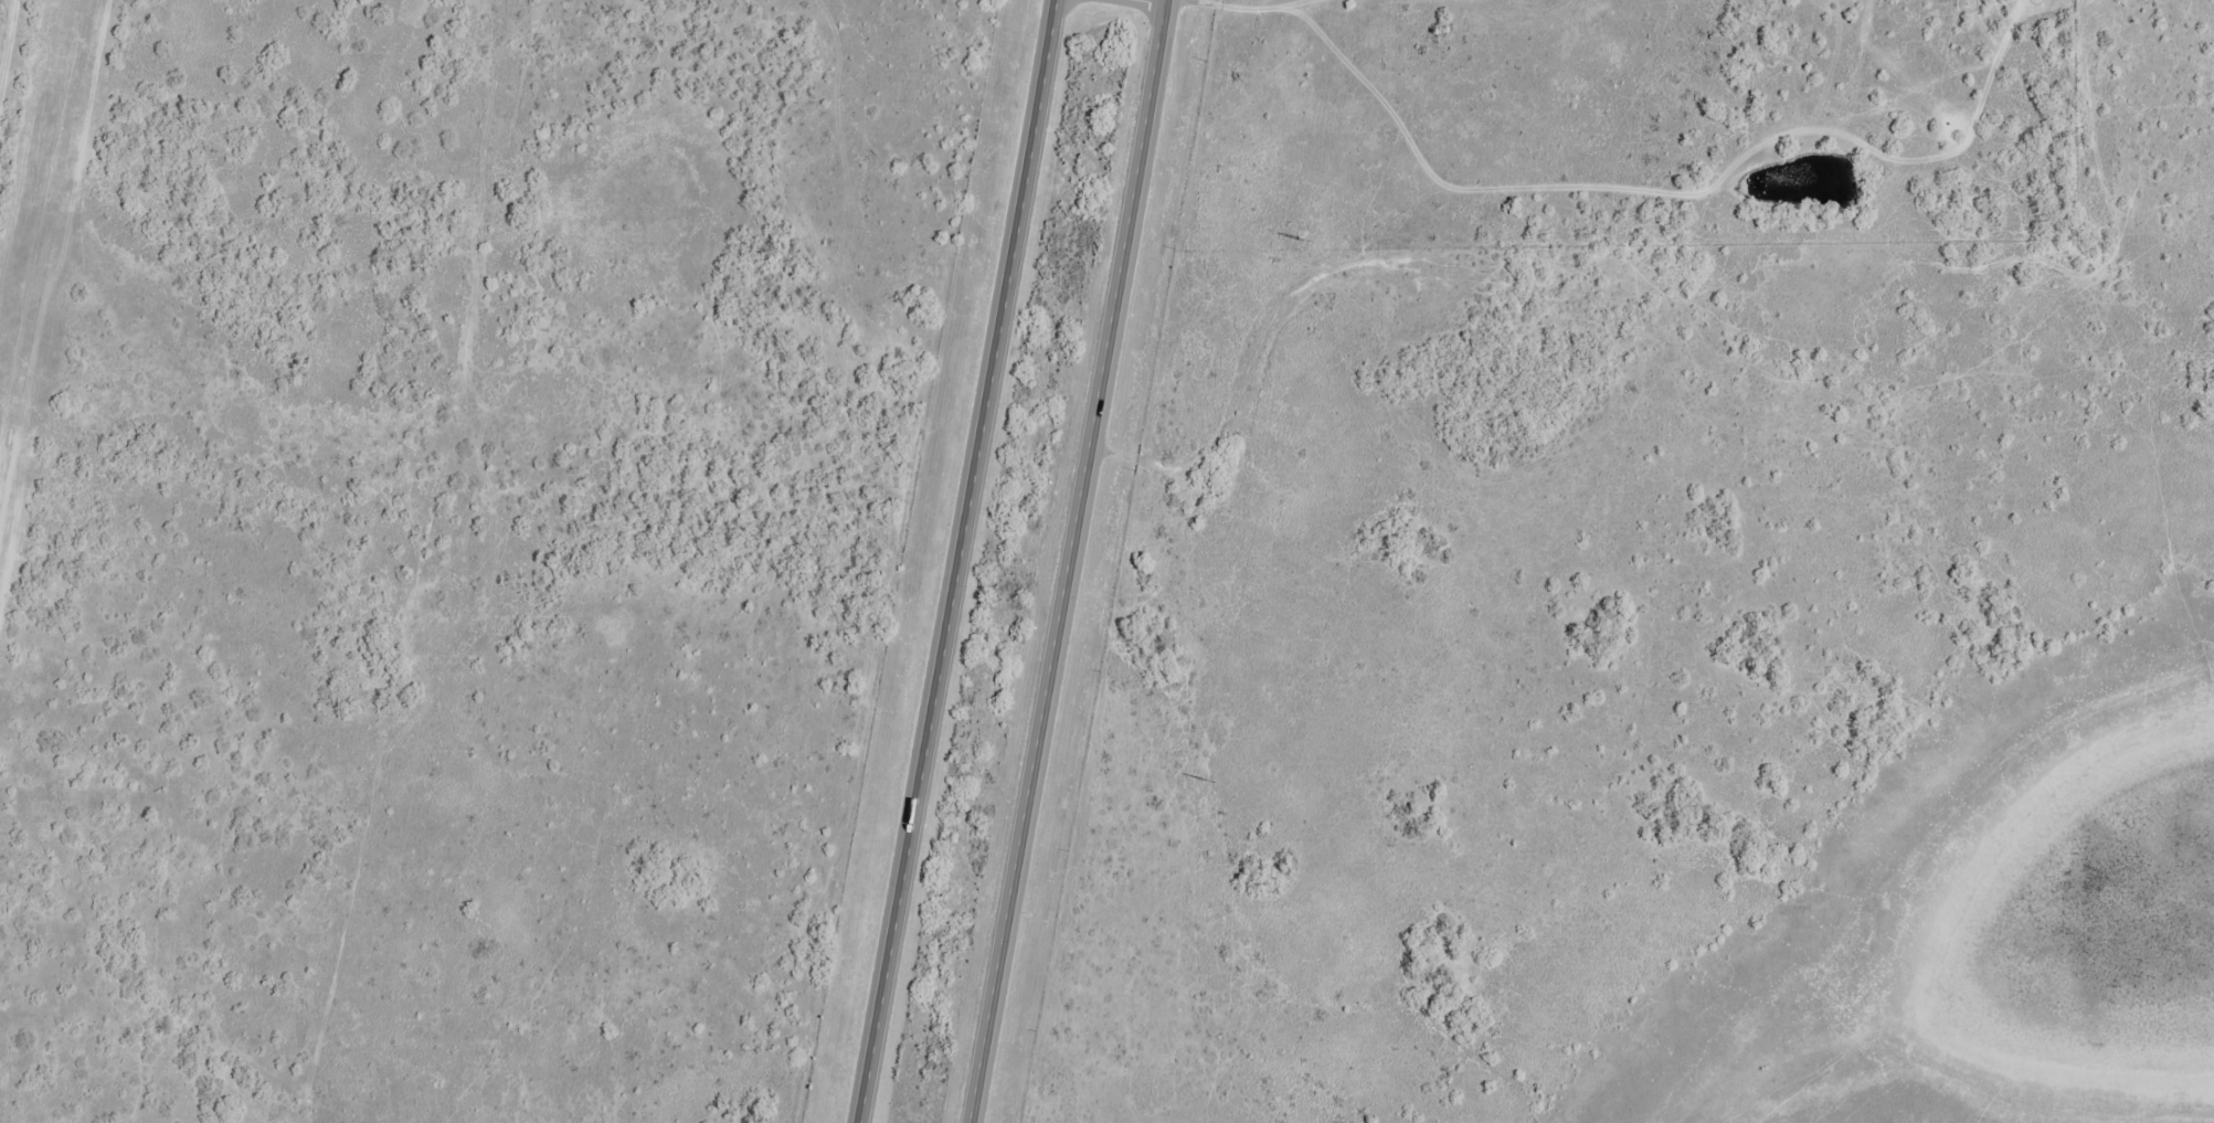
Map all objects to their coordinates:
road: (1162, 1)
power tower: (1303, 240)
road: (1074, 561)
road: (968, 562)
power tower: (1207, 780)

